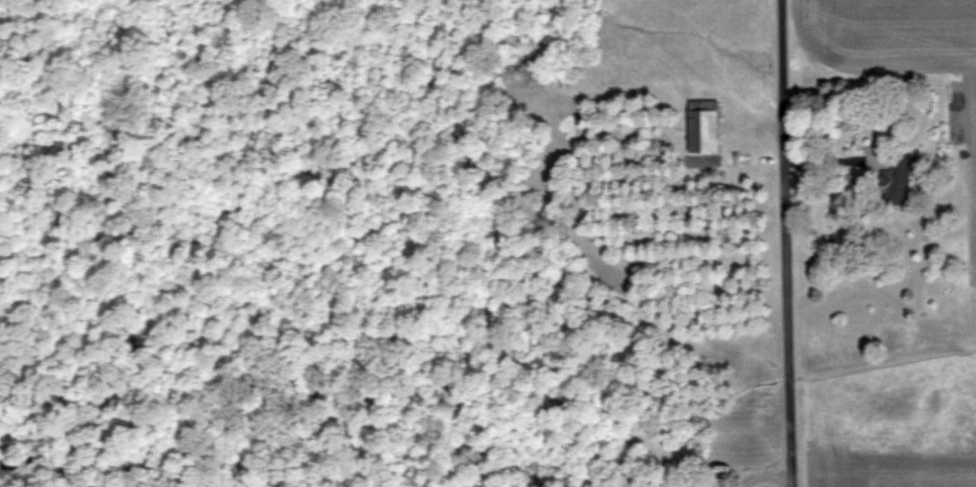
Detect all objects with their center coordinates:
building: (703, 125)
building: (897, 180)
road: (783, 243)
road: (762, 476)

